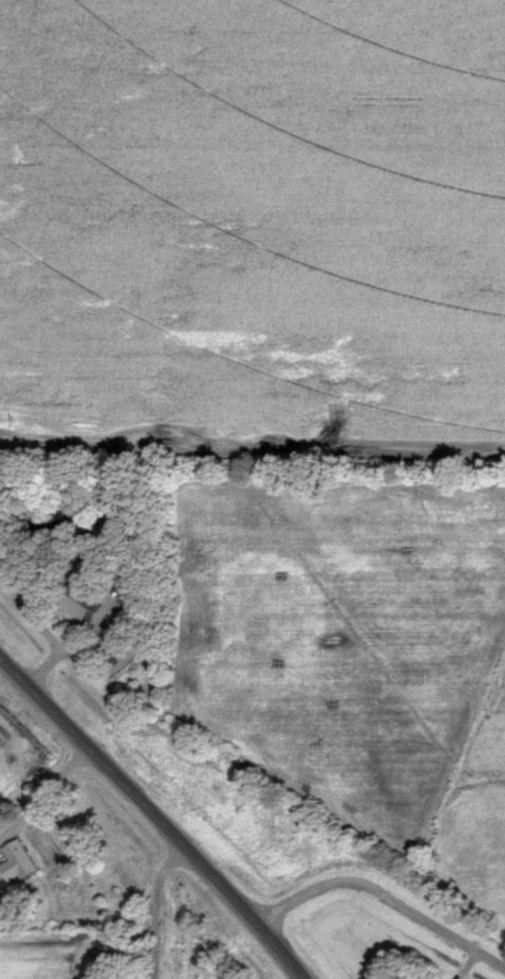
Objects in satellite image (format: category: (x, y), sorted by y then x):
building: (128, 599)
building: (77, 602)
road: (158, 812)
building: (22, 859)
road: (386, 895)

